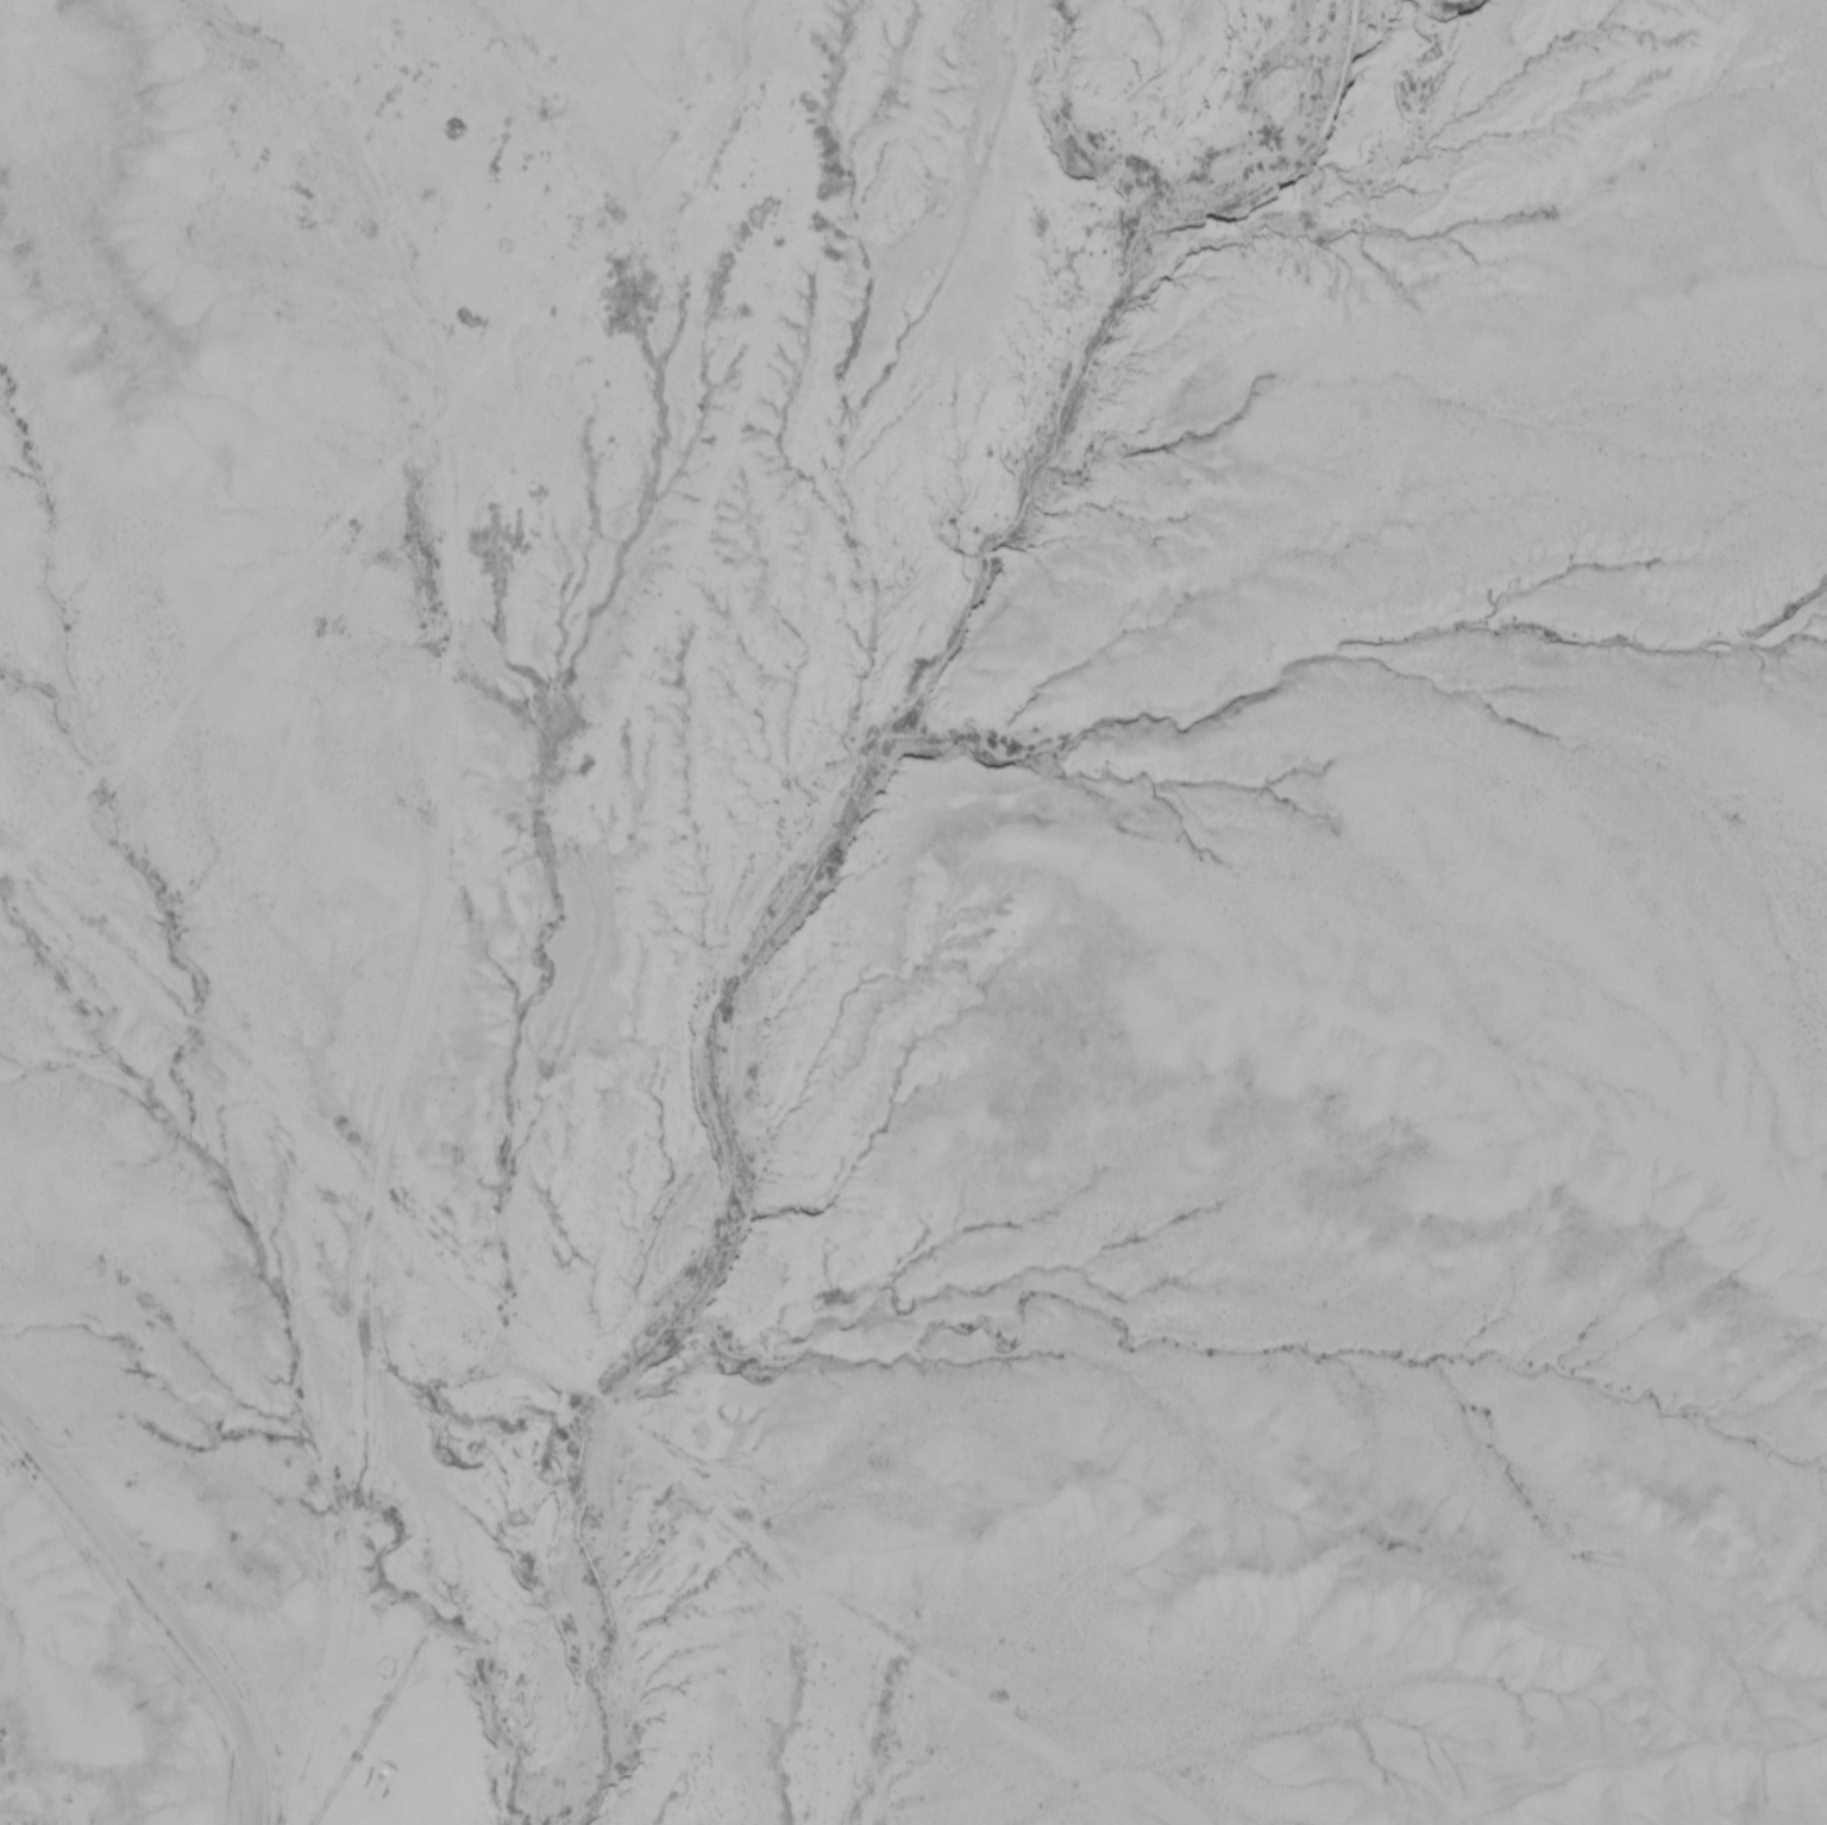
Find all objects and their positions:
road: (754, 1529)
road: (157, 1597)

